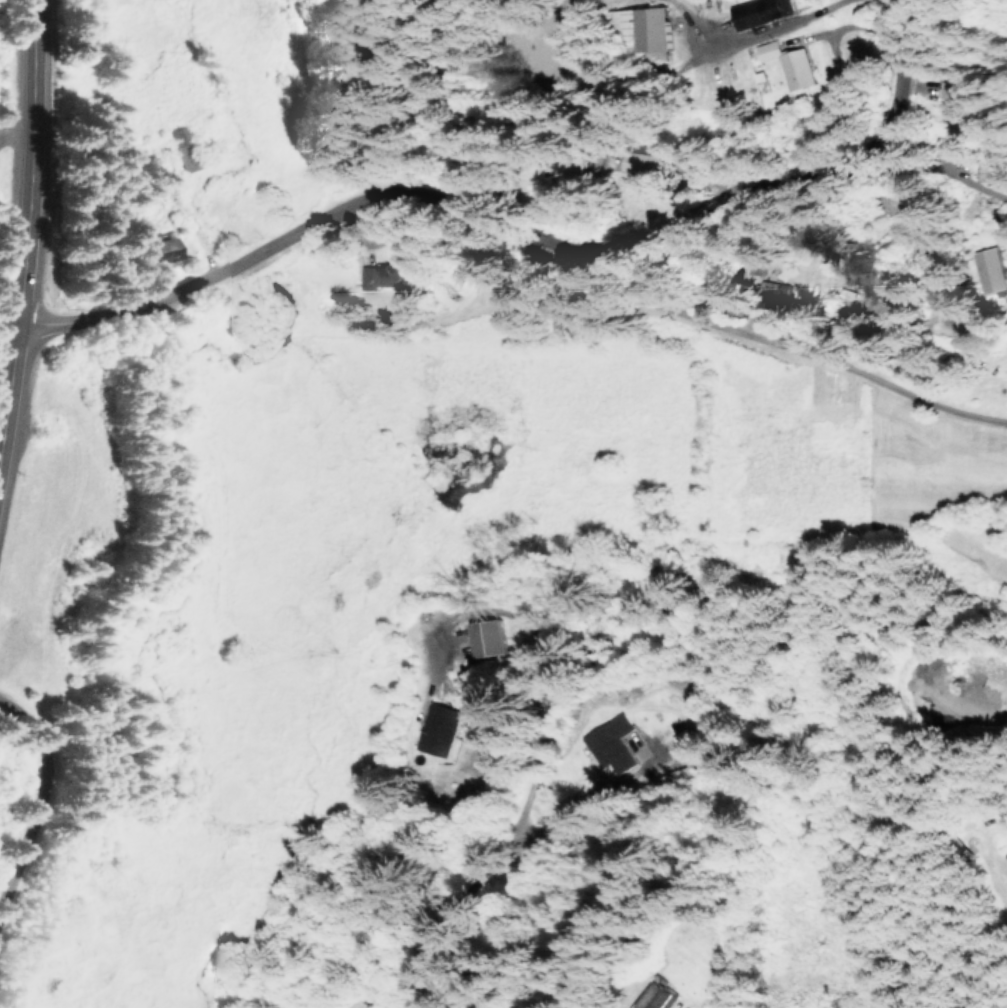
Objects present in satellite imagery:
building: (757, 11)
building: (766, 50)
building: (795, 68)
building: (181, 146)
road: (514, 153)
building: (642, 162)
road: (26, 237)
building: (160, 248)
building: (754, 267)
building: (990, 269)
building: (382, 275)
building: (775, 294)
road: (718, 324)
building: (484, 637)
building: (435, 733)
building: (609, 742)
road: (34, 802)
building: (658, 995)

